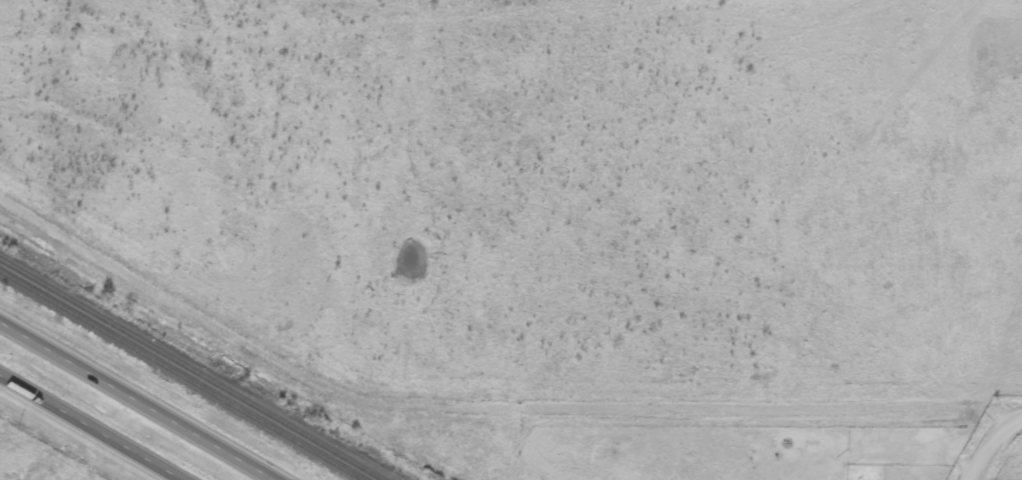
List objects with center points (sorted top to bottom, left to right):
railway: (191, 370)
railway: (180, 375)
road: (133, 402)
road: (91, 427)
road: (992, 446)

